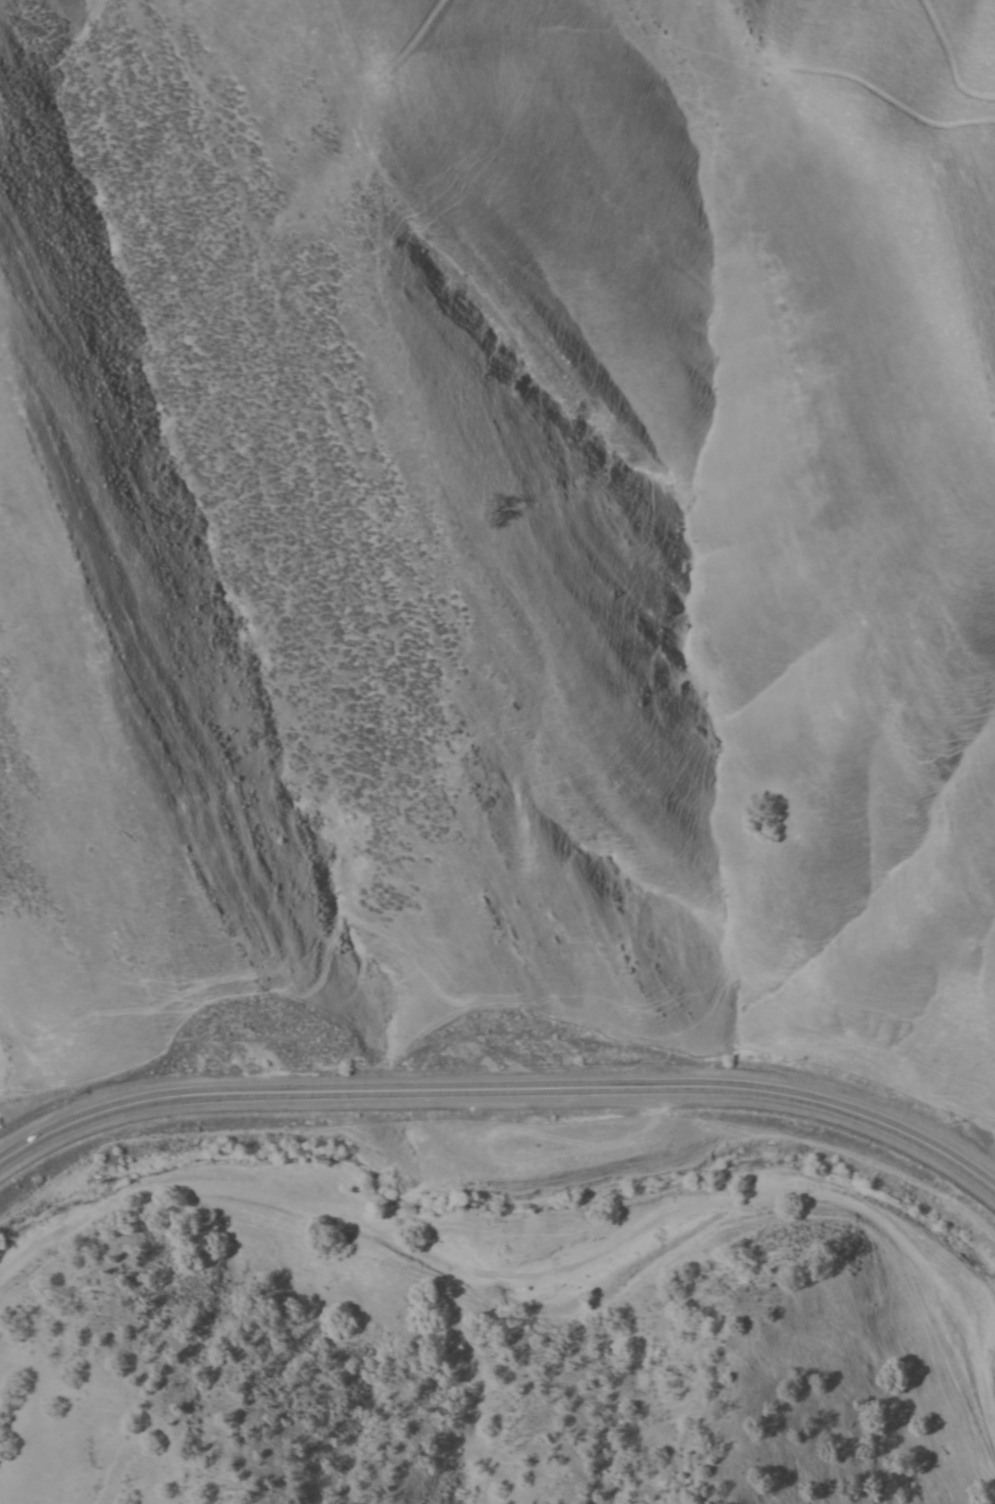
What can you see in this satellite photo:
road: (502, 1067)

